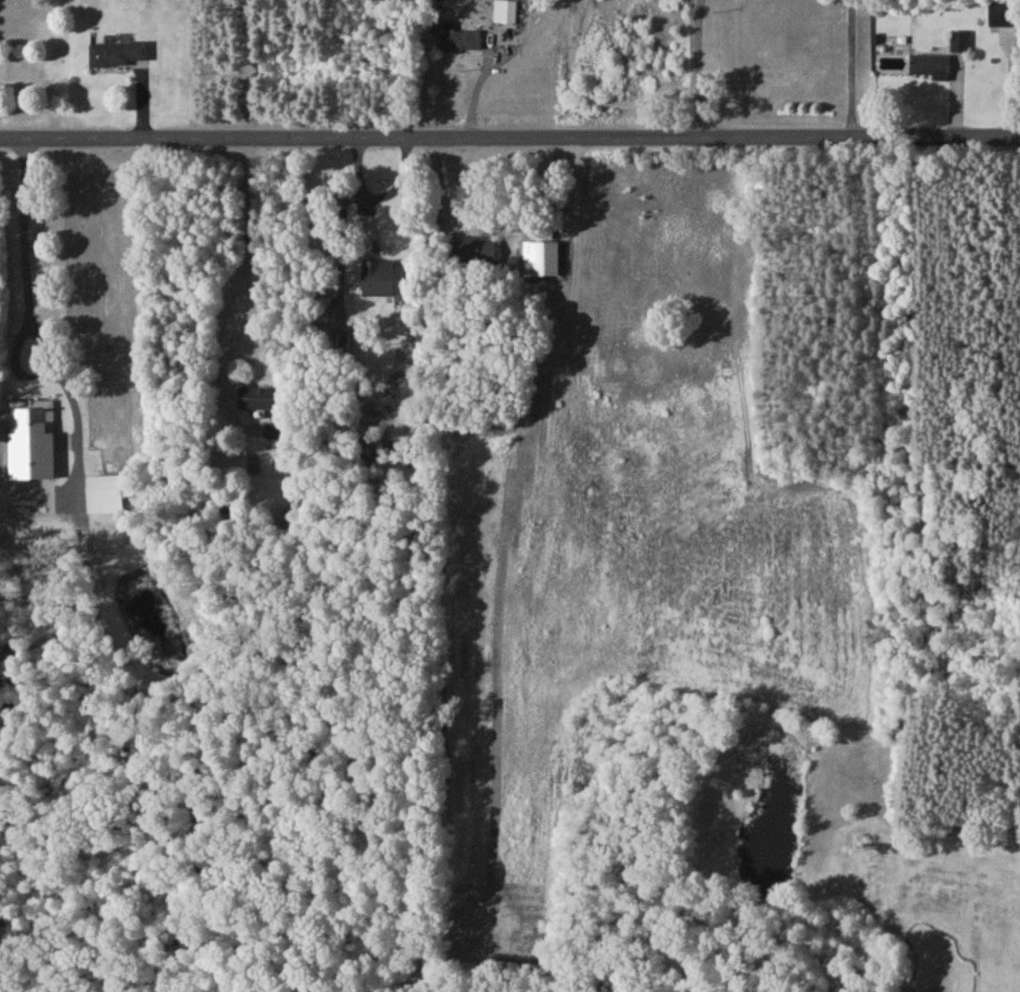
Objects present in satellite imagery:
building: (506, 14)
building: (1003, 18)
building: (459, 42)
building: (961, 44)
building: (120, 57)
building: (931, 67)
road: (699, 70)
road: (855, 70)
road: (509, 141)
road: (400, 186)
road: (361, 194)
building: (477, 254)
road: (236, 274)
building: (384, 282)
road: (16, 328)
building: (260, 402)
building: (103, 492)

